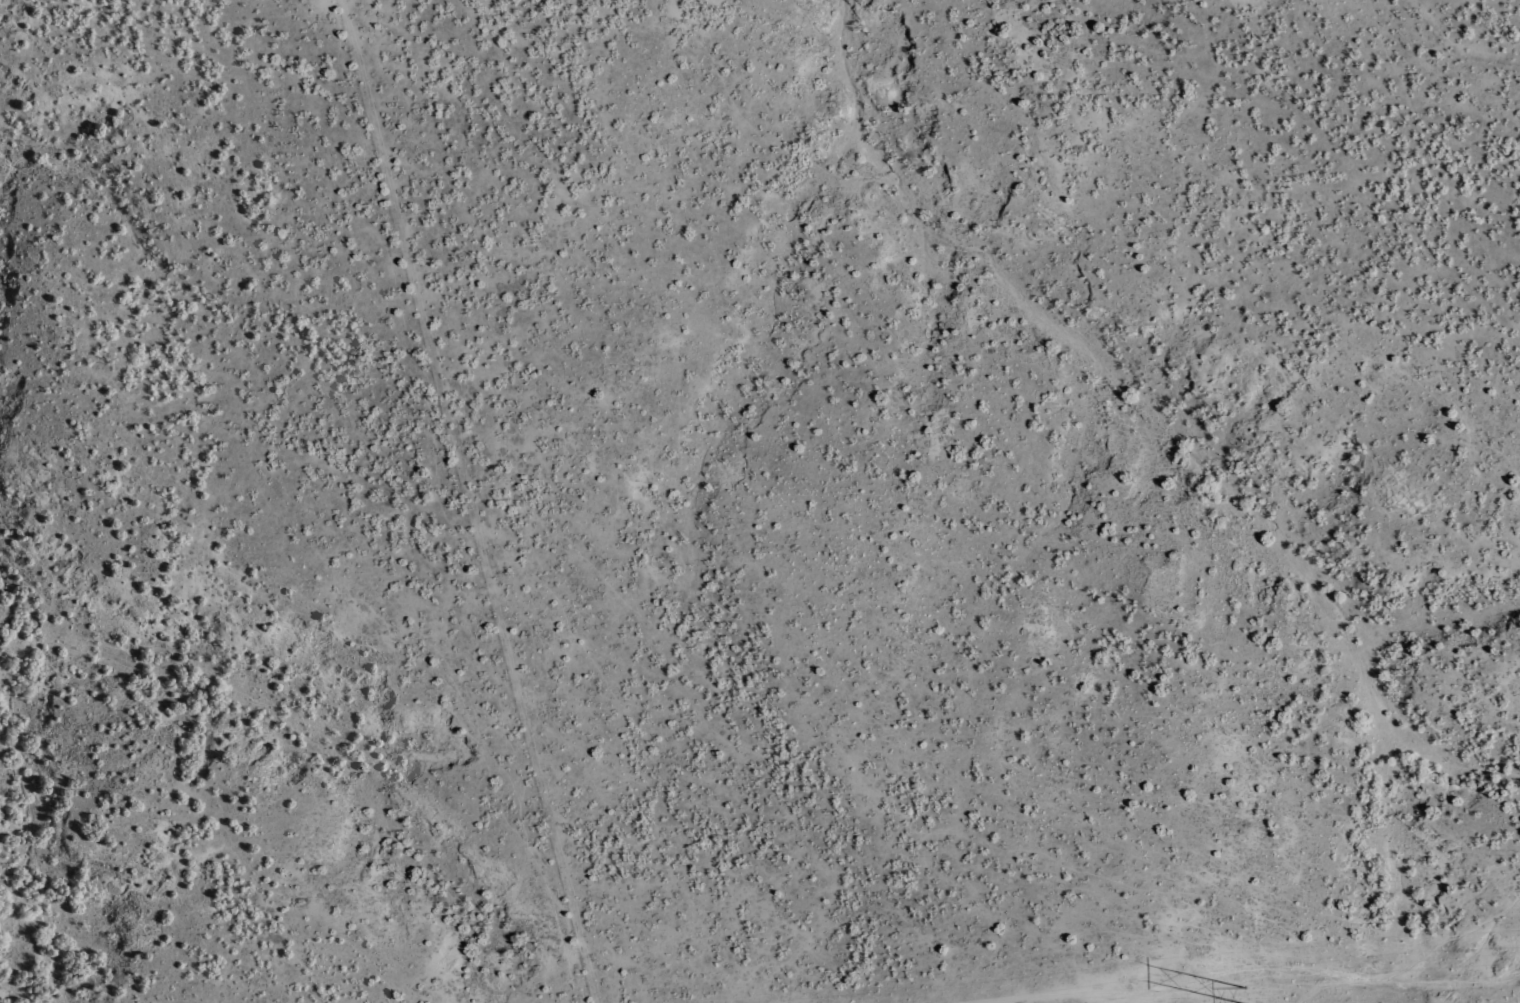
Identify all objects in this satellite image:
power tower: (1243, 995)

